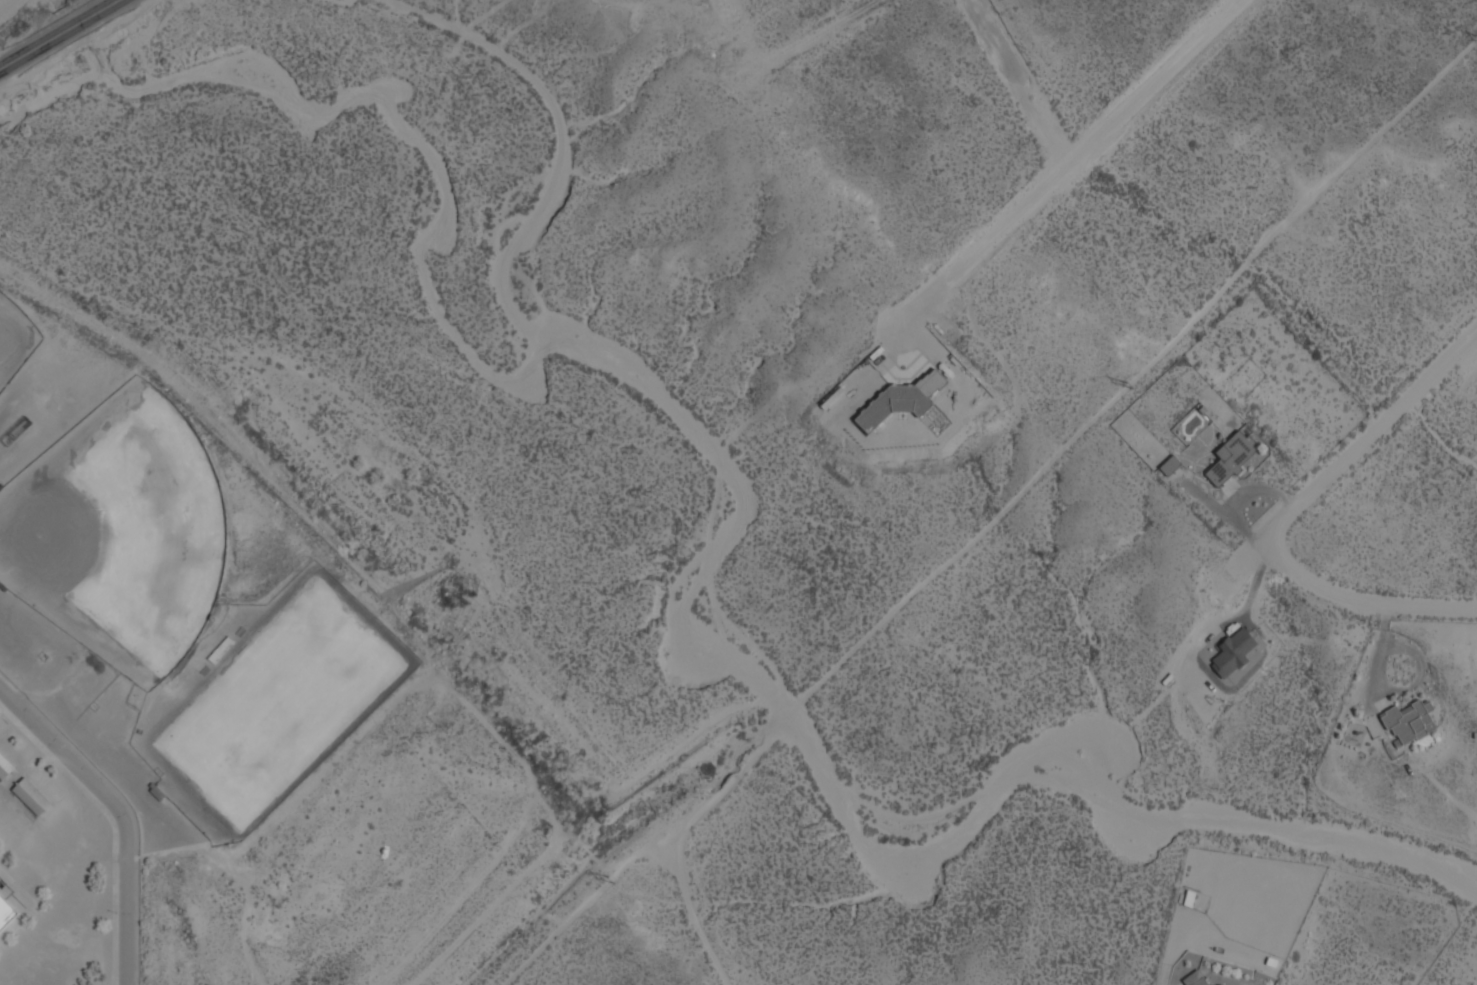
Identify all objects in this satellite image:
road: (55, 32)
road: (1019, 82)
road: (1068, 163)
park: (13, 339)
power tower: (1129, 385)
building: (900, 401)
building: (1230, 460)
building: (1169, 467)
road: (1347, 469)
park: (118, 532)
road: (1362, 603)
building: (1232, 653)
park: (284, 700)
building: (1407, 723)
building: (1373, 728)
building: (4, 767)
building: (30, 797)
road: (119, 813)
road: (112, 823)
power tower: (611, 880)
road: (34, 903)
building: (6, 912)
building: (1204, 983)

